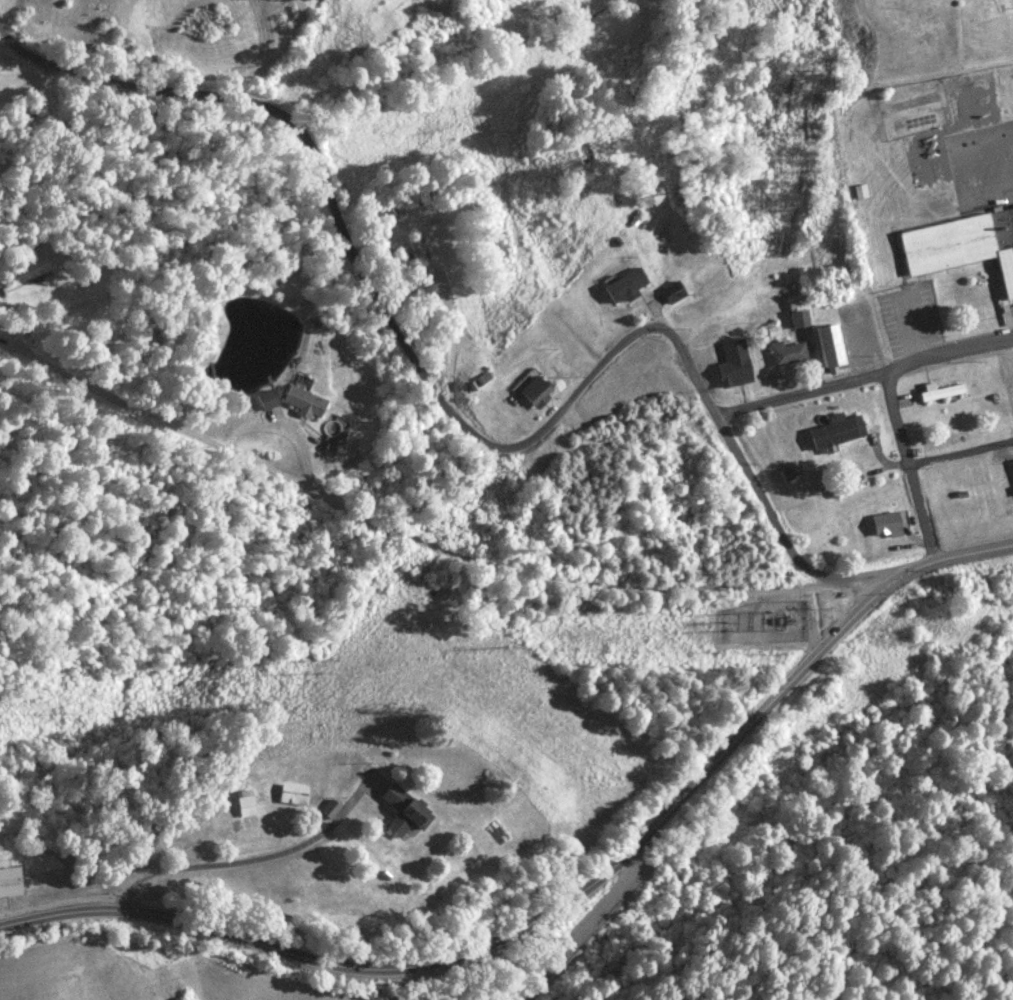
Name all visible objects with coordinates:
road: (32, 84)
building: (587, 152)
building: (963, 248)
building: (420, 249)
road: (354, 253)
building: (629, 287)
building: (676, 292)
building: (831, 347)
building: (793, 352)
building: (737, 365)
road: (862, 377)
building: (942, 393)
building: (308, 402)
building: (840, 432)
road: (961, 451)
road: (911, 468)
road: (755, 497)
building: (893, 524)
road: (406, 544)
road: (951, 562)
building: (296, 795)
building: (248, 807)
building: (408, 811)
building: (12, 882)
road: (504, 929)
road: (516, 960)

